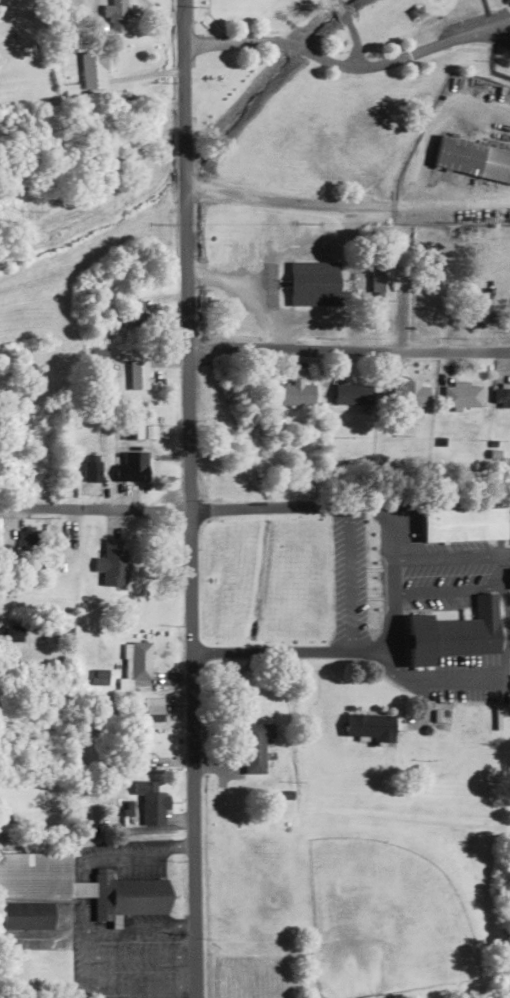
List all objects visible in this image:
building: (116, 16)
road: (499, 42)
road: (346, 65)
building: (94, 69)
park: (327, 88)
building: (473, 157)
road: (327, 203)
building: (316, 283)
building: (132, 314)
road: (347, 348)
building: (138, 374)
building: (410, 393)
building: (296, 394)
building: (353, 394)
building: (501, 394)
building: (463, 395)
building: (133, 428)
building: (92, 470)
building: (140, 471)
road: (188, 499)
road: (94, 509)
building: (464, 524)
building: (29, 540)
building: (61, 545)
building: (112, 563)
building: (458, 633)
building: (136, 662)
building: (152, 709)
building: (371, 726)
building: (256, 746)
building: (152, 802)
building: (70, 890)

